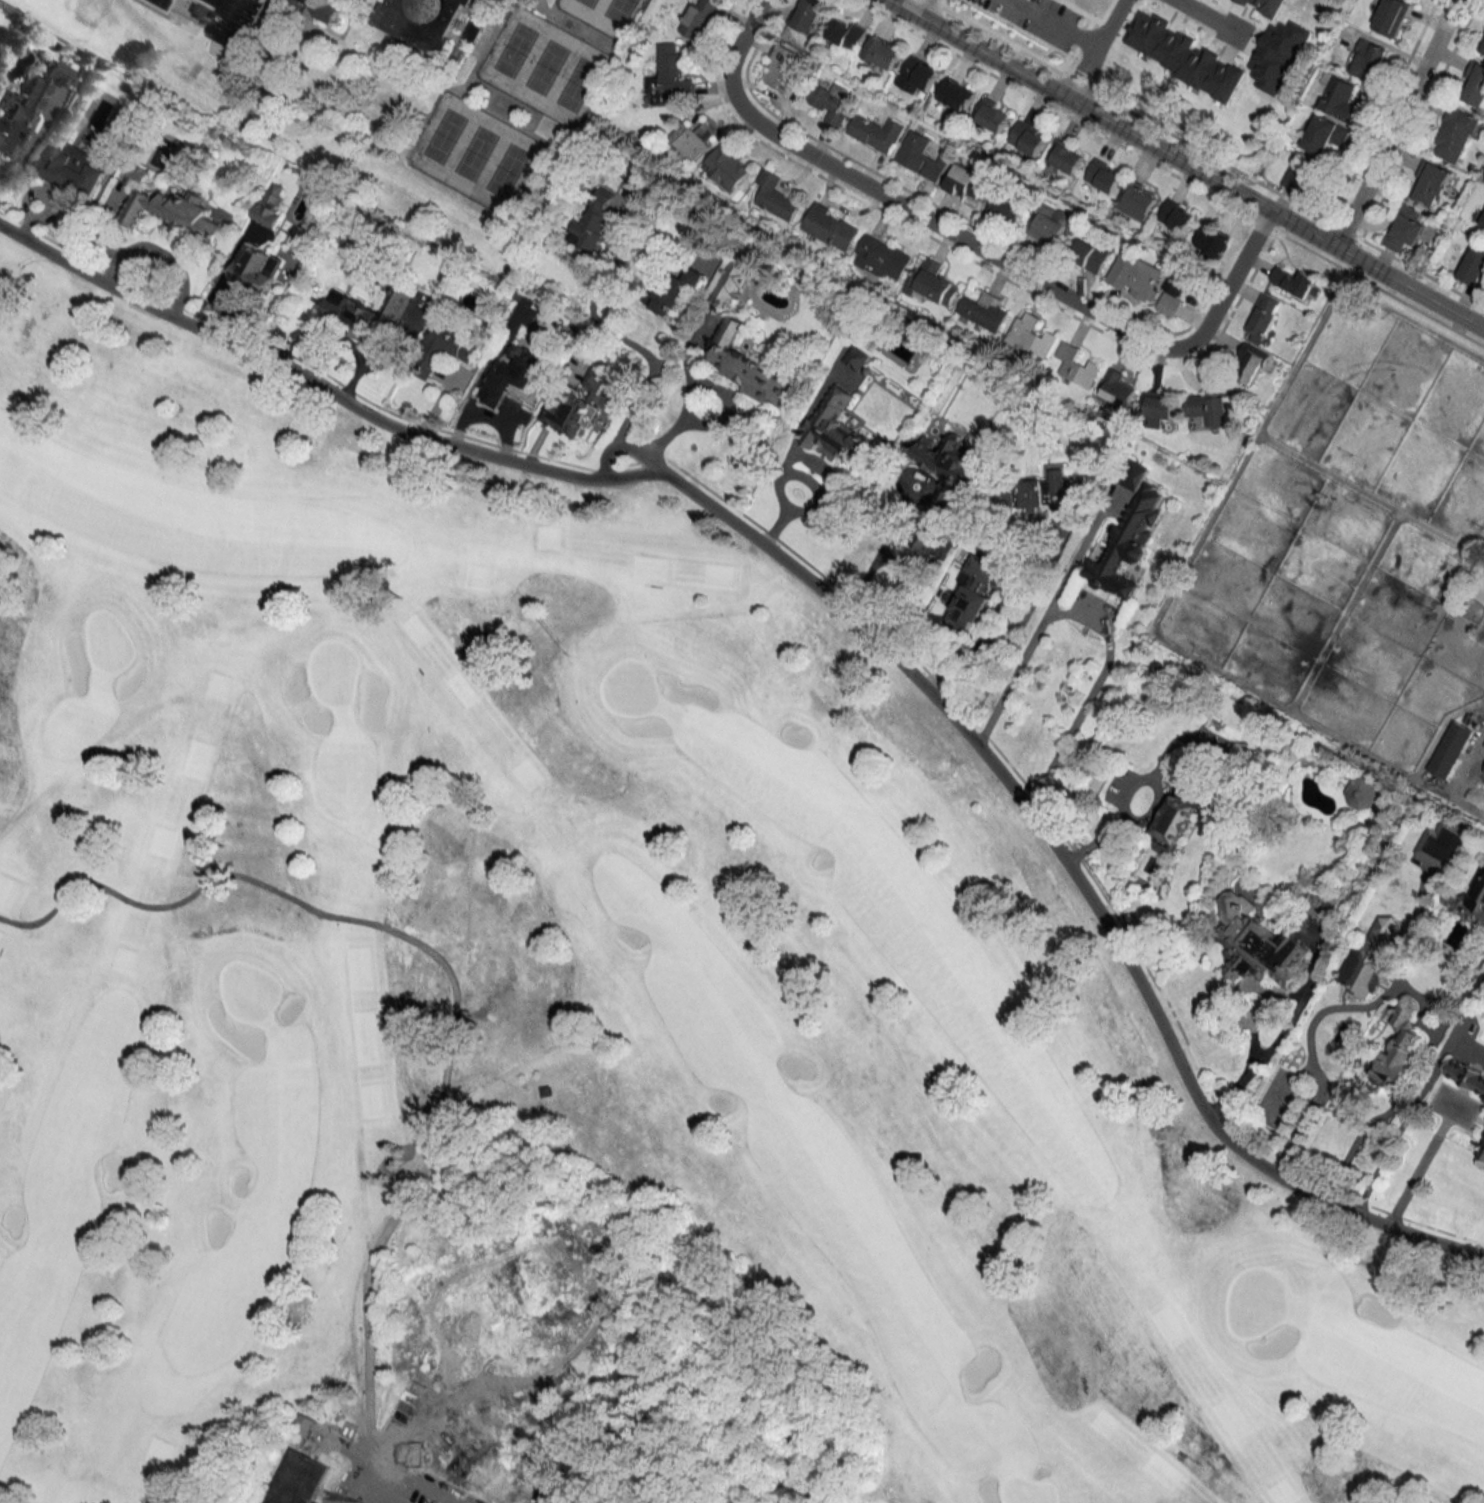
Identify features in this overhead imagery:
road: (890, 1)
building: (1265, 6)
building: (322, 8)
road: (925, 9)
park: (604, 14)
building: (808, 16)
road: (1210, 16)
building: (1391, 17)
building: (700, 18)
building: (230, 21)
building: (420, 21)
road: (1055, 24)
building: (473, 32)
building: (847, 33)
road: (1097, 50)
building: (1483, 51)
building: (884, 53)
building: (1279, 54)
building: (1184, 56)
building: (1368, 60)
park: (542, 66)
building: (785, 69)
building: (918, 75)
building: (671, 79)
building: (1475, 85)
building: (956, 94)
building: (1341, 99)
building: (830, 103)
building: (26, 107)
building: (993, 114)
road: (1395, 124)
building: (878, 132)
building: (1455, 134)
building: (1325, 135)
building: (1028, 138)
building: (692, 141)
park: (475, 153)
building: (922, 156)
building: (1066, 156)
road: (1185, 163)
building: (727, 167)
building: (73, 168)
building: (134, 172)
building: (1104, 176)
building: (1305, 177)
building: (967, 182)
building: (1432, 184)
building: (778, 200)
building: (1138, 200)
building: (270, 205)
building: (1007, 206)
building: (175, 207)
building: (1177, 216)
building: (596, 221)
building: (1483, 222)
building: (832, 227)
building: (1050, 227)
building: (1405, 228)
building: (1218, 243)
road: (977, 248)
building: (884, 256)
building: (1090, 256)
building: (256, 267)
building: (1474, 267)
building: (1138, 276)
building: (934, 282)
building: (1295, 282)
building: (732, 283)
building: (672, 291)
building: (983, 310)
building: (365, 312)
building: (1263, 318)
building: (1031, 335)
building: (455, 345)
road: (644, 353)
building: (856, 358)
building: (1250, 363)
building: (1077, 366)
building: (749, 367)
building: (511, 379)
building: (1116, 389)
building: (1209, 404)
building: (1160, 405)
building: (573, 415)
road: (725, 418)
building: (838, 430)
road: (617, 444)
building: (947, 466)
building: (1131, 474)
road: (789, 479)
building: (1048, 493)
road: (887, 541)
building: (936, 544)
building: (1128, 544)
building: (974, 590)
road: (841, 607)
road: (1097, 625)
road: (974, 649)
road: (397, 661)
road: (1479, 744)
building: (1447, 749)
building: (1483, 767)
building: (1483, 777)
building: (1362, 794)
building: (1182, 805)
road: (1153, 809)
building: (1443, 844)
building: (1470, 901)
building: (1256, 943)
road: (451, 994)
building: (1349, 995)
park: (567, 1026)
road: (1263, 1058)
building: (1396, 1059)
road: (1314, 1070)
building: (1463, 1073)
road: (1363, 1130)
building: (1481, 1147)
road: (1421, 1160)
building: (1482, 1160)
road: (1218, 1365)
building: (301, 1430)
building: (298, 1479)
road: (382, 1492)
road: (378, 1502)

